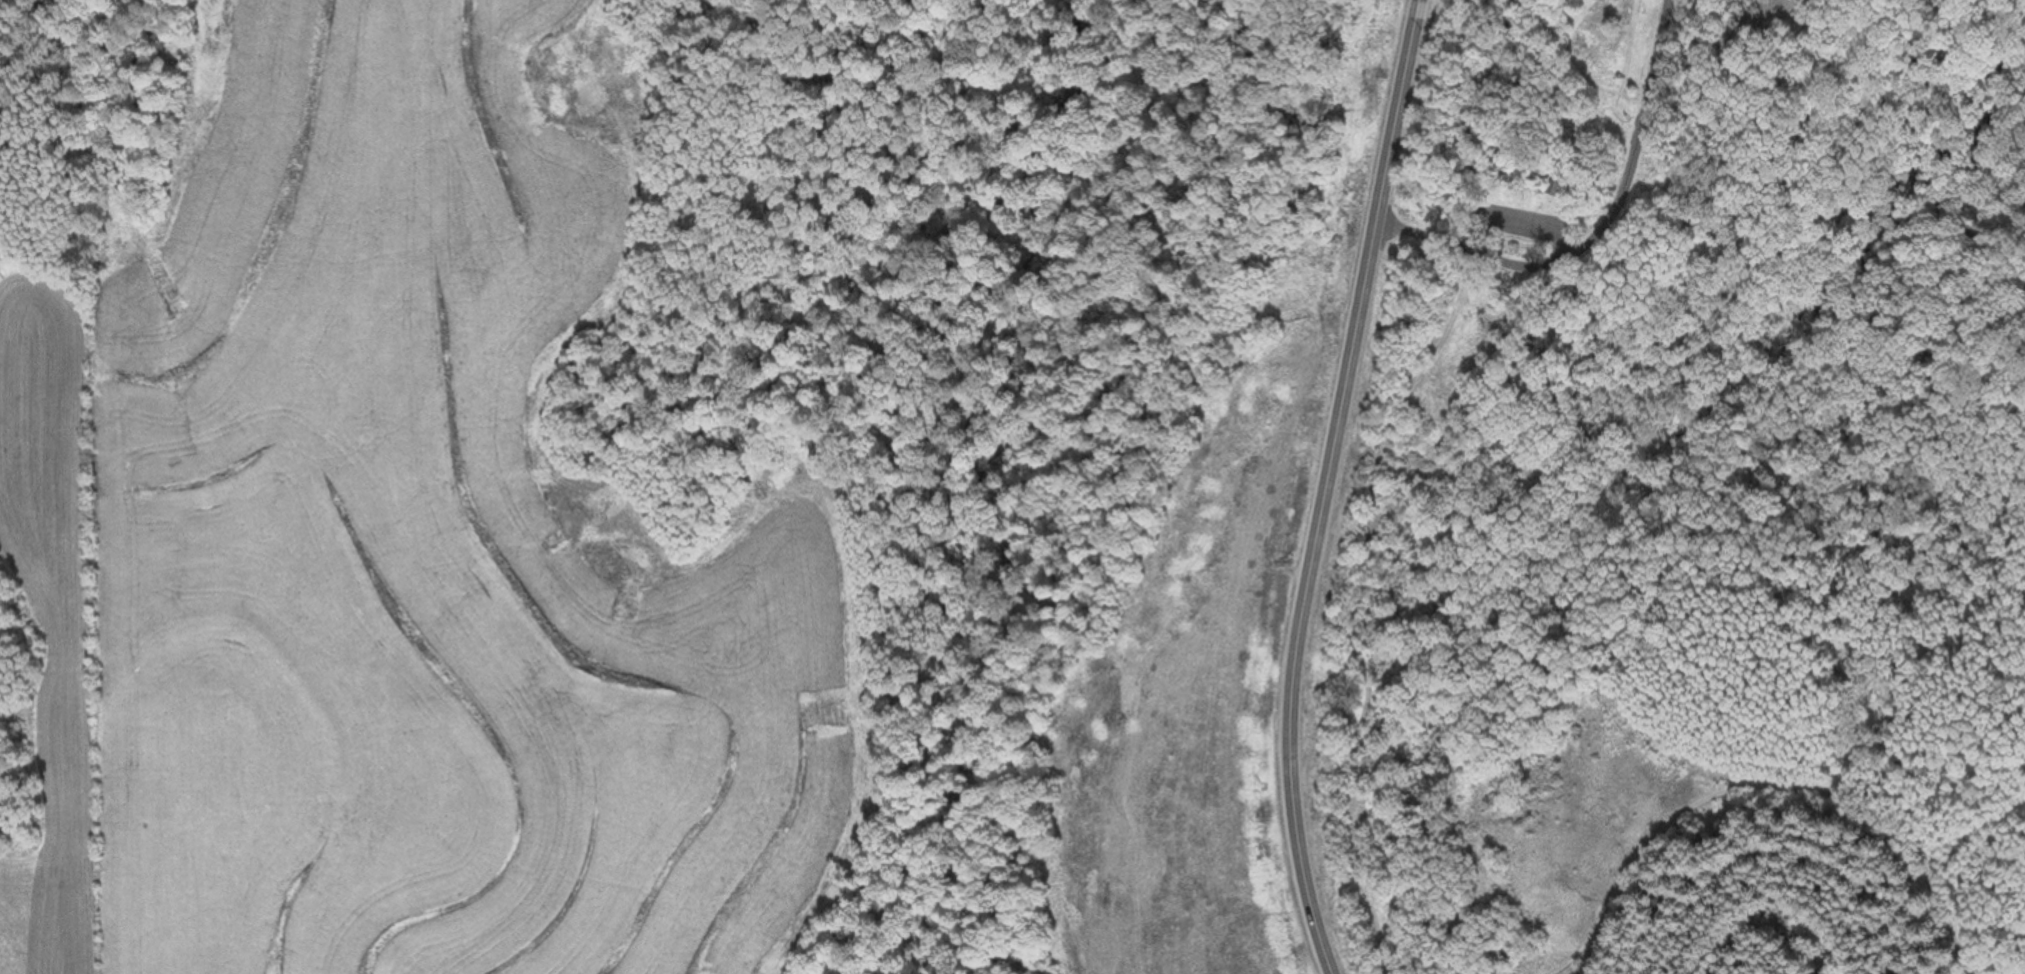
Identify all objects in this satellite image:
road: (1845, 3)
road: (1468, 112)
road: (1738, 119)
road: (1895, 166)
building: (1551, 183)
road: (1597, 233)
road: (1322, 487)

